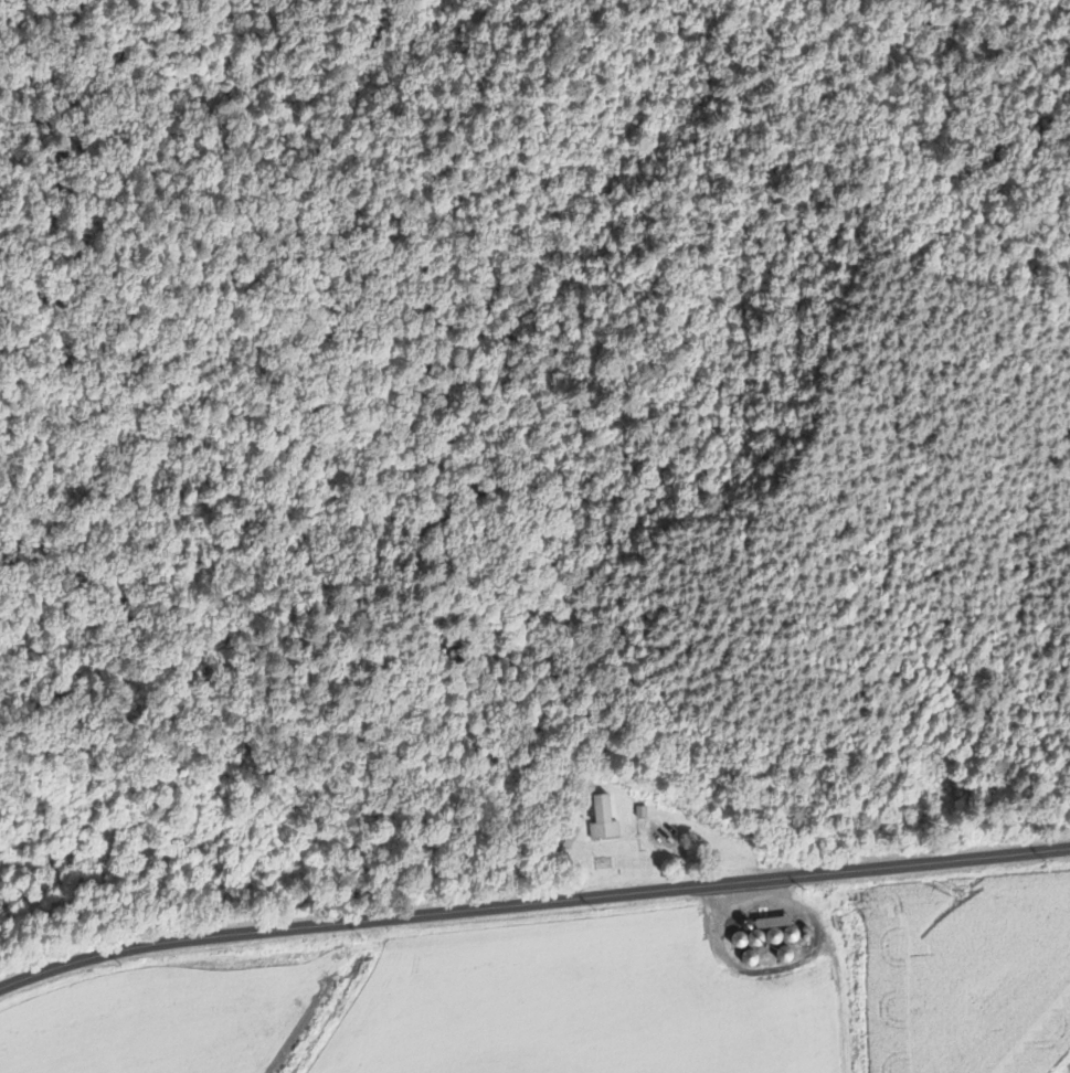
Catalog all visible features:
building: (602, 821)
road: (531, 900)
building: (791, 932)
building: (773, 935)
building: (755, 936)
building: (739, 938)
building: (783, 953)
building: (749, 957)
crop: (966, 968)
road: (774, 971)
road: (845, 998)

